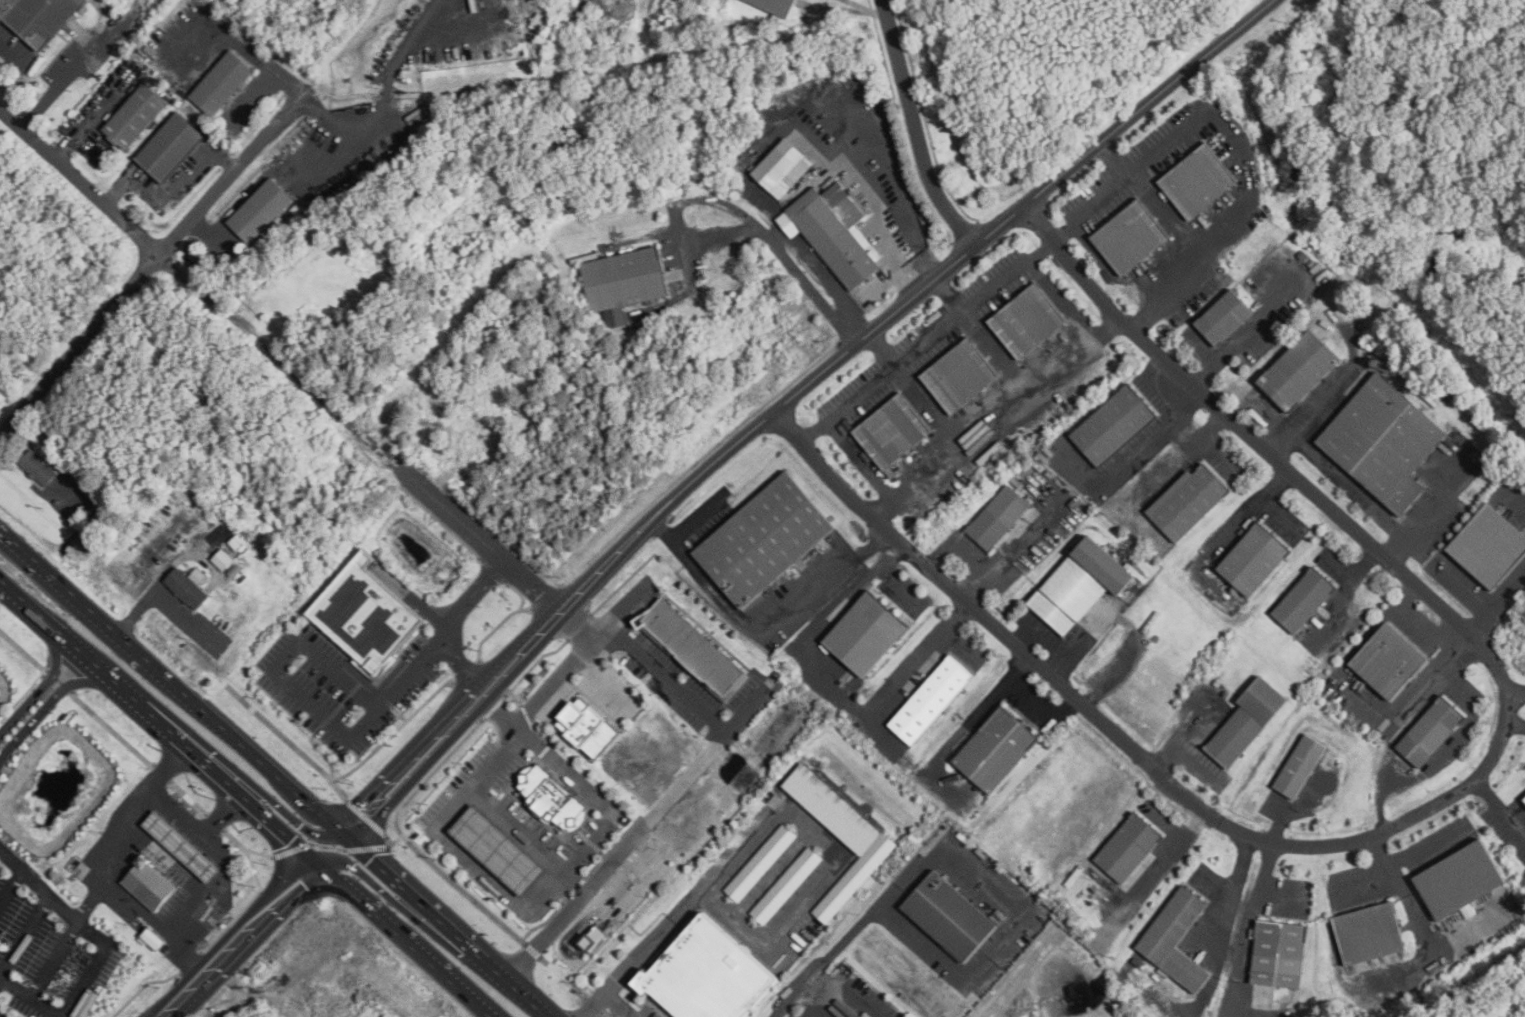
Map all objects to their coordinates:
building: (779, 6)
building: (40, 17)
road: (258, 56)
road: (80, 63)
building: (223, 83)
building: (138, 116)
road: (83, 123)
road: (916, 130)
building: (173, 146)
road: (1246, 165)
building: (784, 167)
building: (1199, 181)
road: (79, 184)
road: (224, 185)
road: (172, 191)
road: (894, 199)
road: (1088, 206)
building: (263, 209)
building: (836, 230)
building: (1132, 238)
road: (780, 251)
building: (624, 282)
road: (951, 296)
road: (1074, 312)
road: (895, 314)
road: (960, 316)
building: (1225, 316)
building: (1029, 319)
road: (79, 347)
building: (522, 367)
building: (1304, 369)
building: (963, 375)
road: (847, 404)
road: (994, 413)
building: (1118, 424)
building: (895, 430)
building: (1384, 441)
road: (1134, 461)
building: (38, 467)
road: (870, 470)
road: (1347, 483)
building: (1188, 502)
building: (999, 516)
road: (1245, 517)
road: (482, 534)
road: (1029, 536)
building: (768, 539)
road: (959, 540)
building: (241, 545)
building: (1493, 547)
building: (223, 559)
building: (1255, 559)
road: (28, 561)
building: (1081, 585)
building: (188, 587)
road: (979, 587)
road: (469, 592)
road: (1348, 595)
road: (1474, 595)
building: (1305, 600)
road: (165, 601)
building: (358, 614)
road: (761, 632)
building: (867, 634)
building: (691, 648)
road: (503, 657)
road: (569, 659)
building: (1394, 660)
road: (460, 661)
road: (516, 668)
road: (169, 682)
road: (42, 685)
road: (829, 687)
road: (1516, 691)
building: (932, 699)
road: (49, 703)
road: (312, 705)
road: (1044, 709)
road: (501, 716)
road: (157, 717)
building: (1248, 721)
road: (1515, 722)
building: (590, 726)
road: (1179, 732)
building: (1432, 732)
road: (710, 745)
road: (949, 745)
building: (996, 749)
road: (406, 754)
road: (1194, 760)
road: (226, 763)
building: (1303, 765)
road: (421, 770)
building: (551, 795)
building: (1524, 800)
road: (486, 802)
road: (1296, 804)
road: (1436, 805)
road: (1500, 809)
road: (196, 832)
building: (840, 834)
traffic signals: (337, 836)
road: (1429, 845)
building: (184, 846)
building: (1129, 847)
building: (499, 850)
road: (575, 853)
traffic signals: (316, 857)
building: (761, 862)
road: (100, 865)
road: (476, 865)
road: (1155, 871)
road: (186, 875)
road: (1364, 878)
building: (1462, 880)
building: (150, 884)
building: (786, 885)
road: (11, 889)
road: (1231, 894)
road: (1278, 898)
road: (51, 899)
road: (88, 901)
road: (683, 907)
road: (881, 907)
road: (410, 916)
building: (950, 916)
road: (438, 927)
road: (1248, 929)
road: (1423, 932)
building: (1371, 934)
road: (24, 935)
road: (238, 936)
road: (404, 937)
building: (588, 937)
building: (153, 939)
building: (597, 939)
building: (1177, 939)
building: (1280, 954)
road: (53, 959)
building: (708, 974)
road: (813, 988)
road: (853, 991)
road: (790, 998)
road: (621, 1005)
road: (812, 1007)
road: (67, 1012)
building: (856, 1015)
building: (864, 1016)

